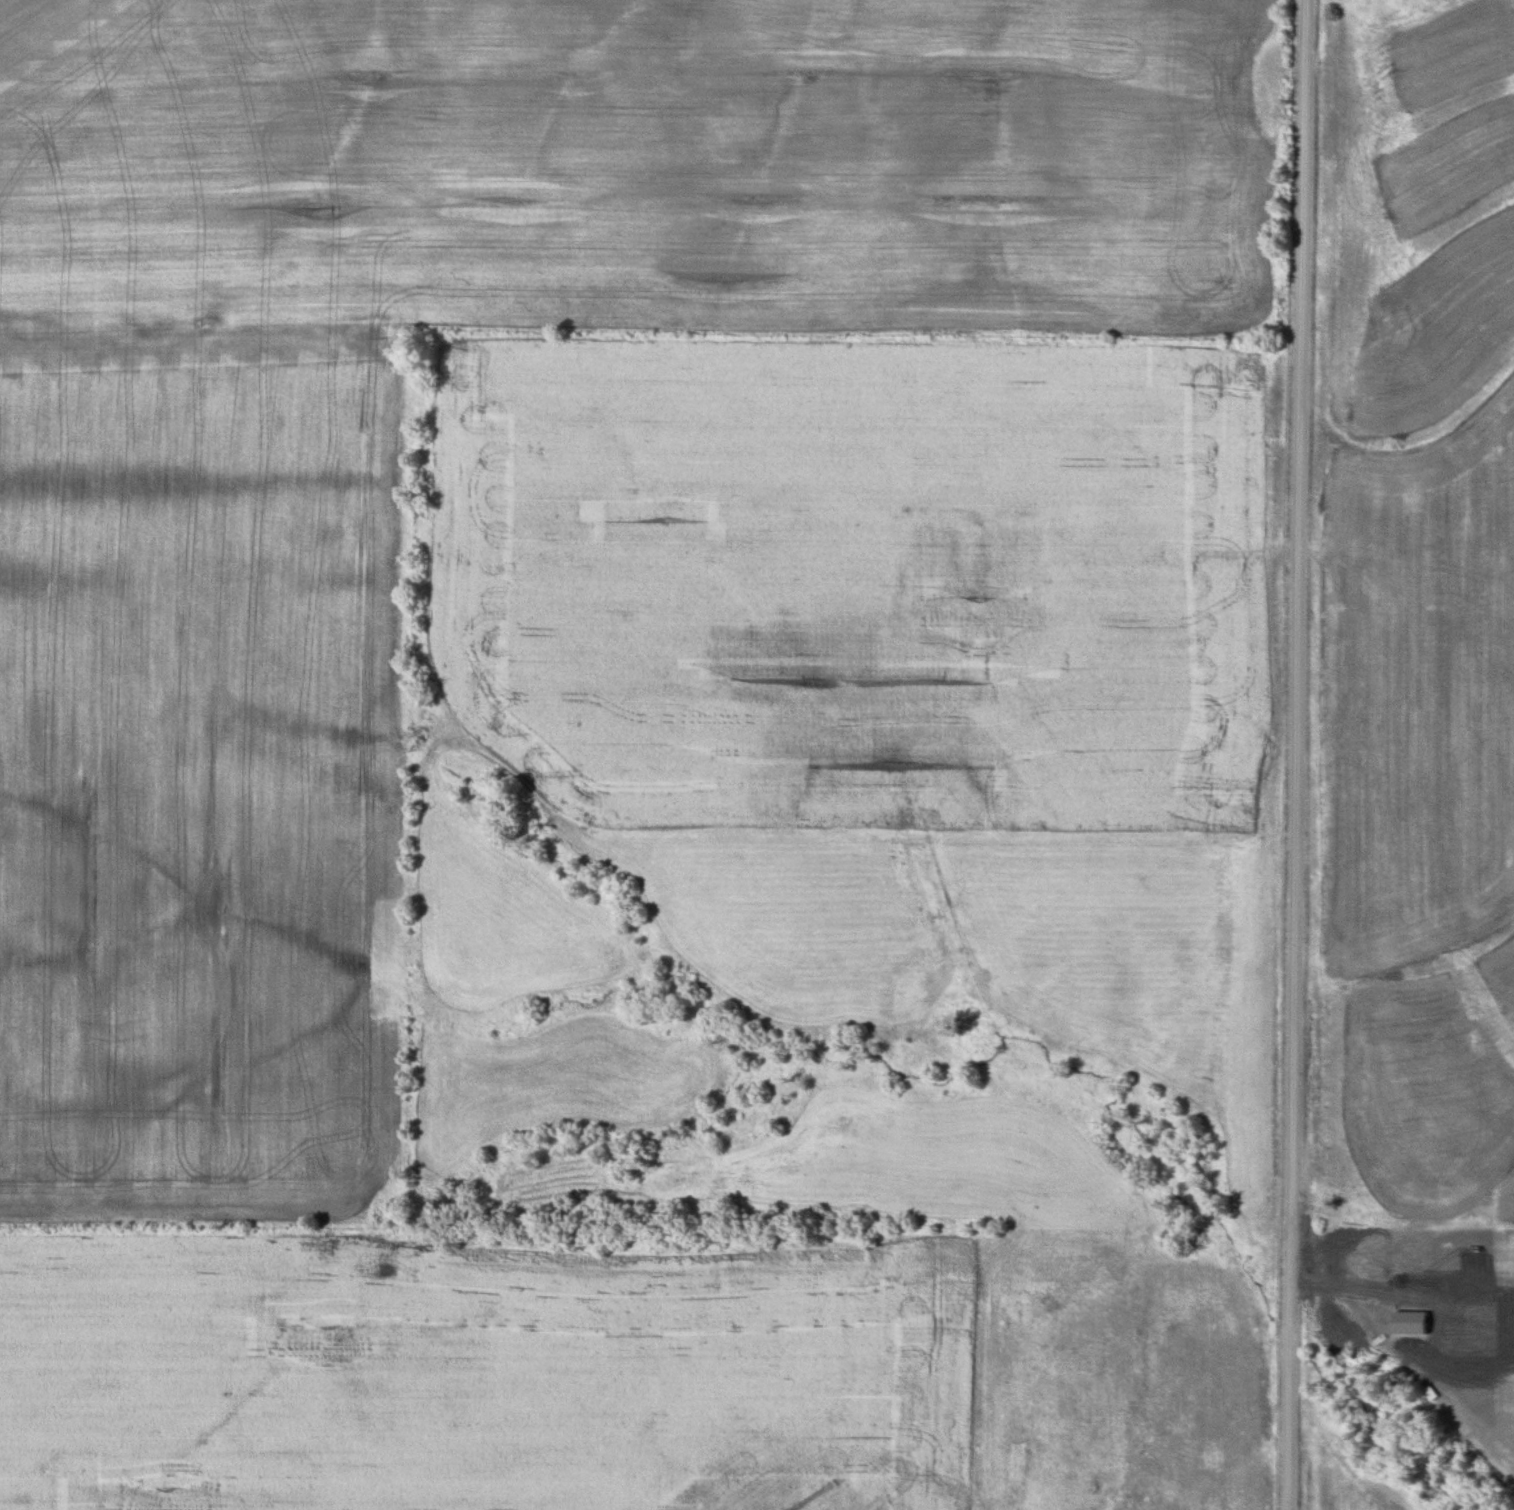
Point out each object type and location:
road: (1295, 754)

